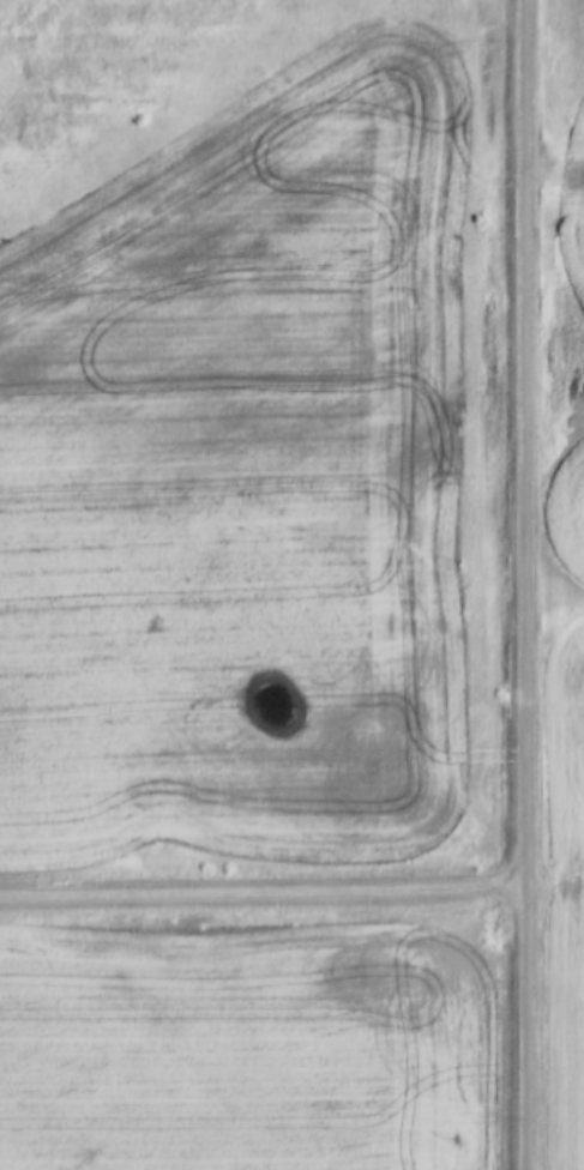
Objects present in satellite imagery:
road: (522, 584)
road: (261, 889)

